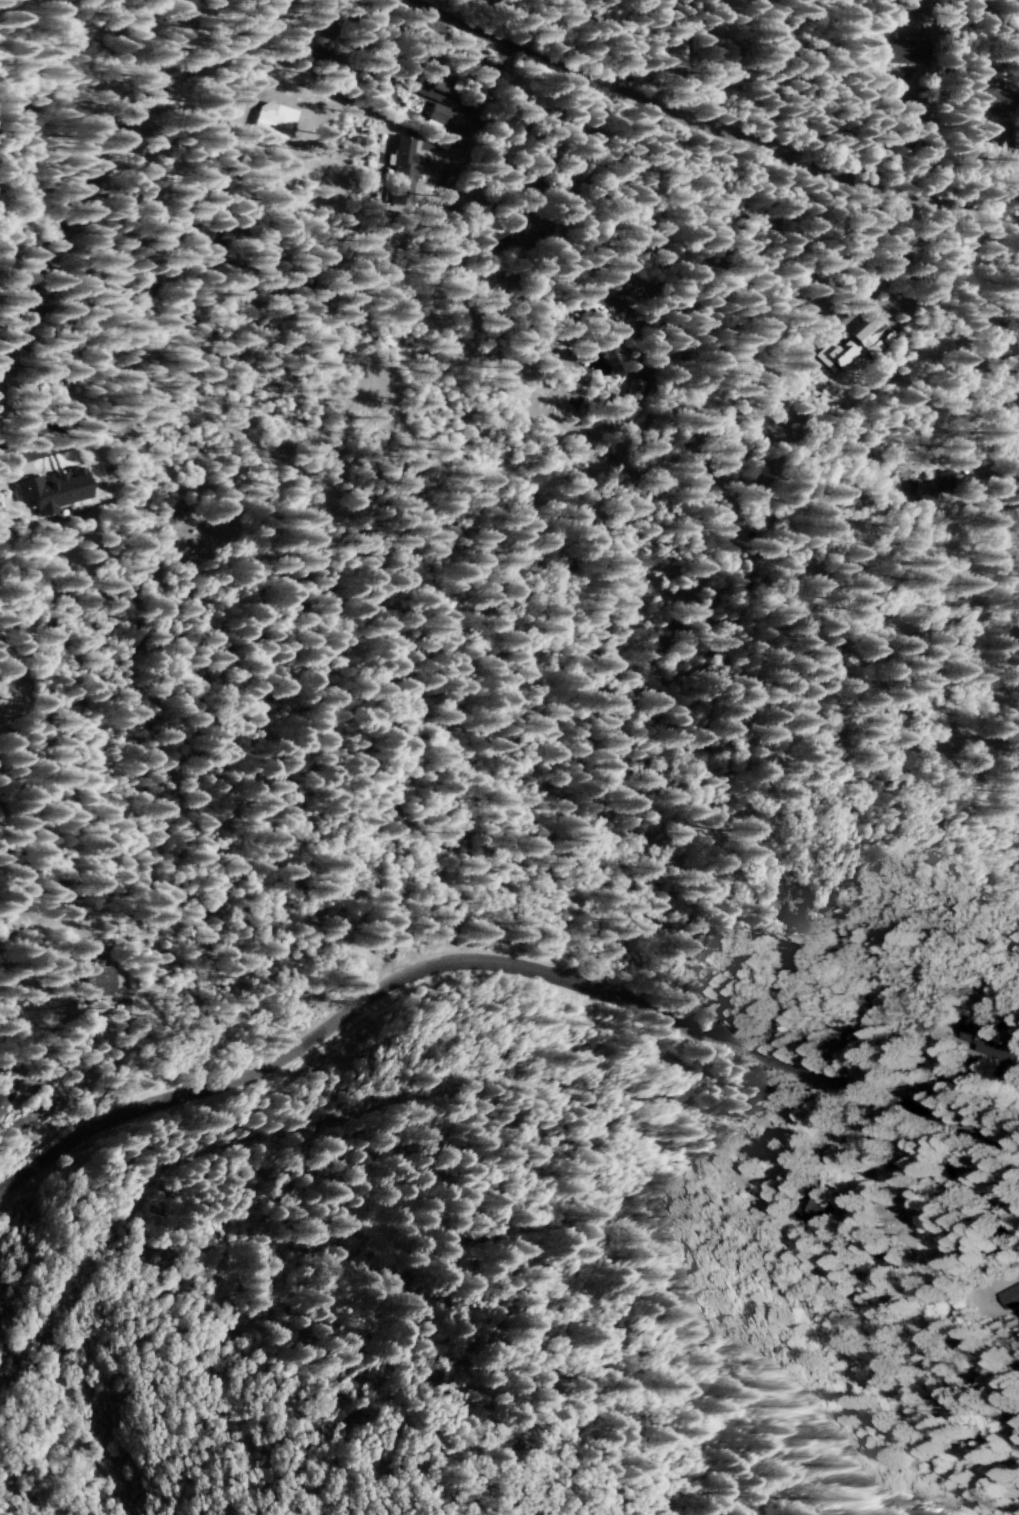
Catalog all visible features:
building: (903, 53)
building: (432, 92)
building: (996, 97)
building: (271, 120)
road: (710, 128)
building: (999, 140)
road: (99, 160)
building: (401, 173)
building: (490, 228)
road: (203, 261)
building: (606, 297)
building: (850, 346)
building: (1007, 346)
building: (635, 390)
road: (66, 432)
road: (5, 450)
building: (937, 487)
building: (51, 492)
building: (778, 908)
building: (162, 959)
road: (495, 960)
building: (93, 979)
building: (986, 1039)
building: (4, 1097)
road: (861, 1162)
building: (813, 1209)
building: (879, 1262)
building: (1009, 1297)

